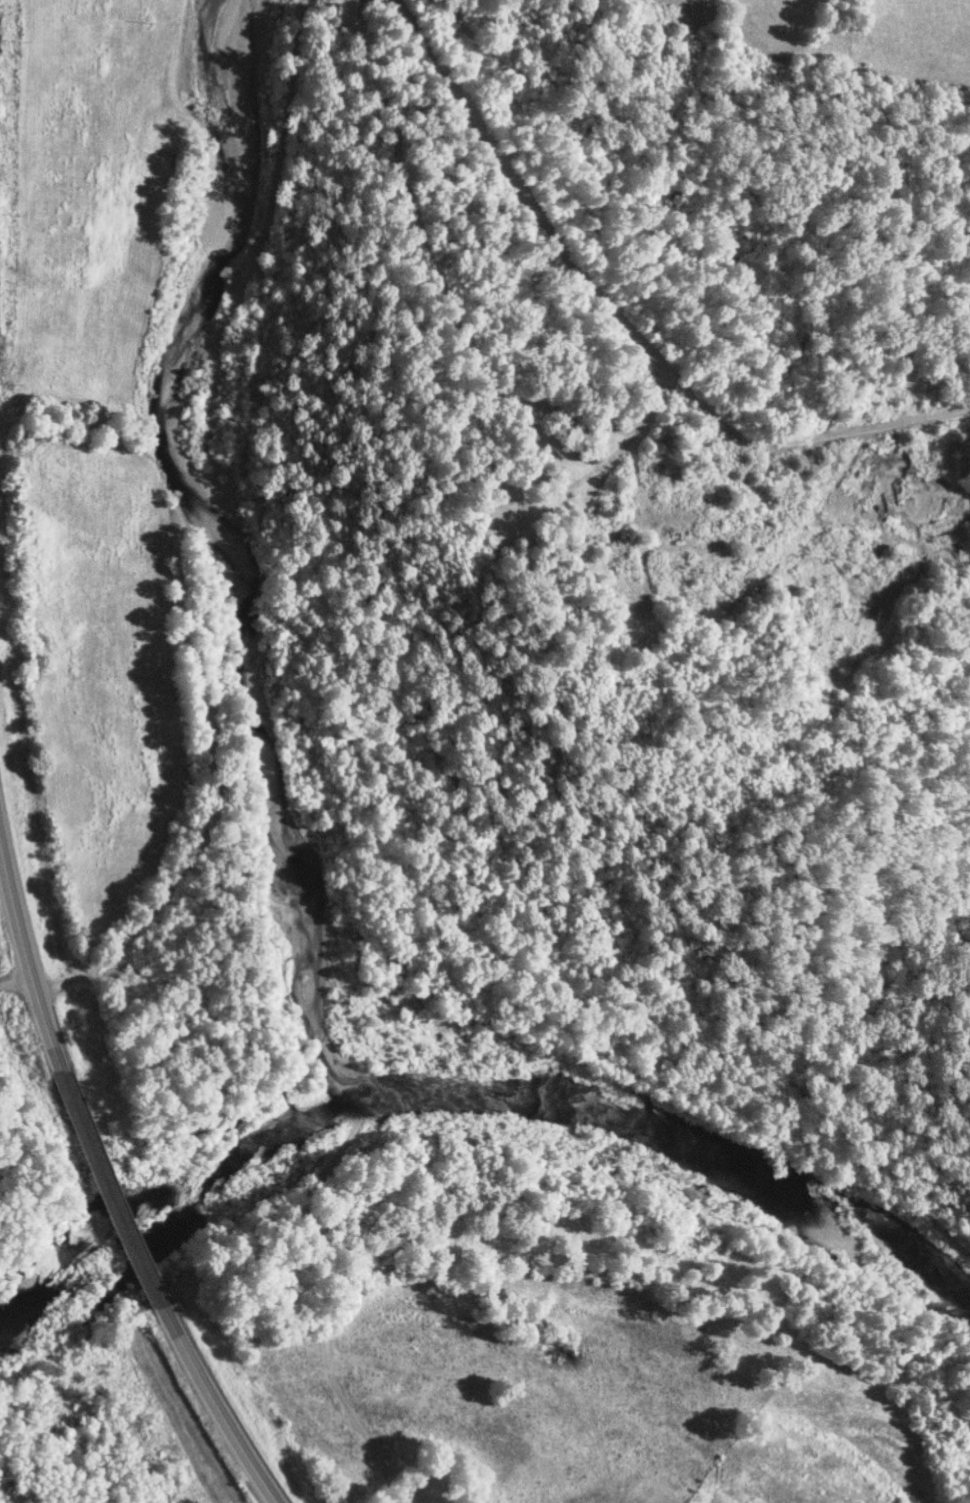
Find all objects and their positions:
road: (278, 235)
road: (219, 776)
road: (24, 951)
road: (16, 983)
river: (473, 1086)
road: (105, 1189)
road: (216, 1412)

